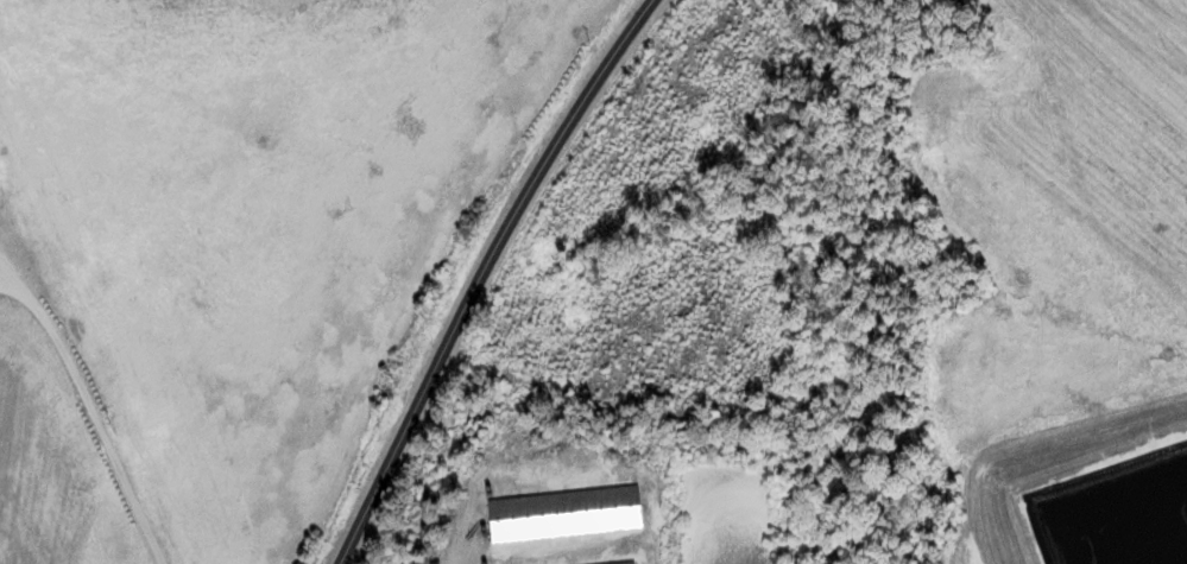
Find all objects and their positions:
road: (482, 272)
building: (561, 512)
building: (619, 562)

